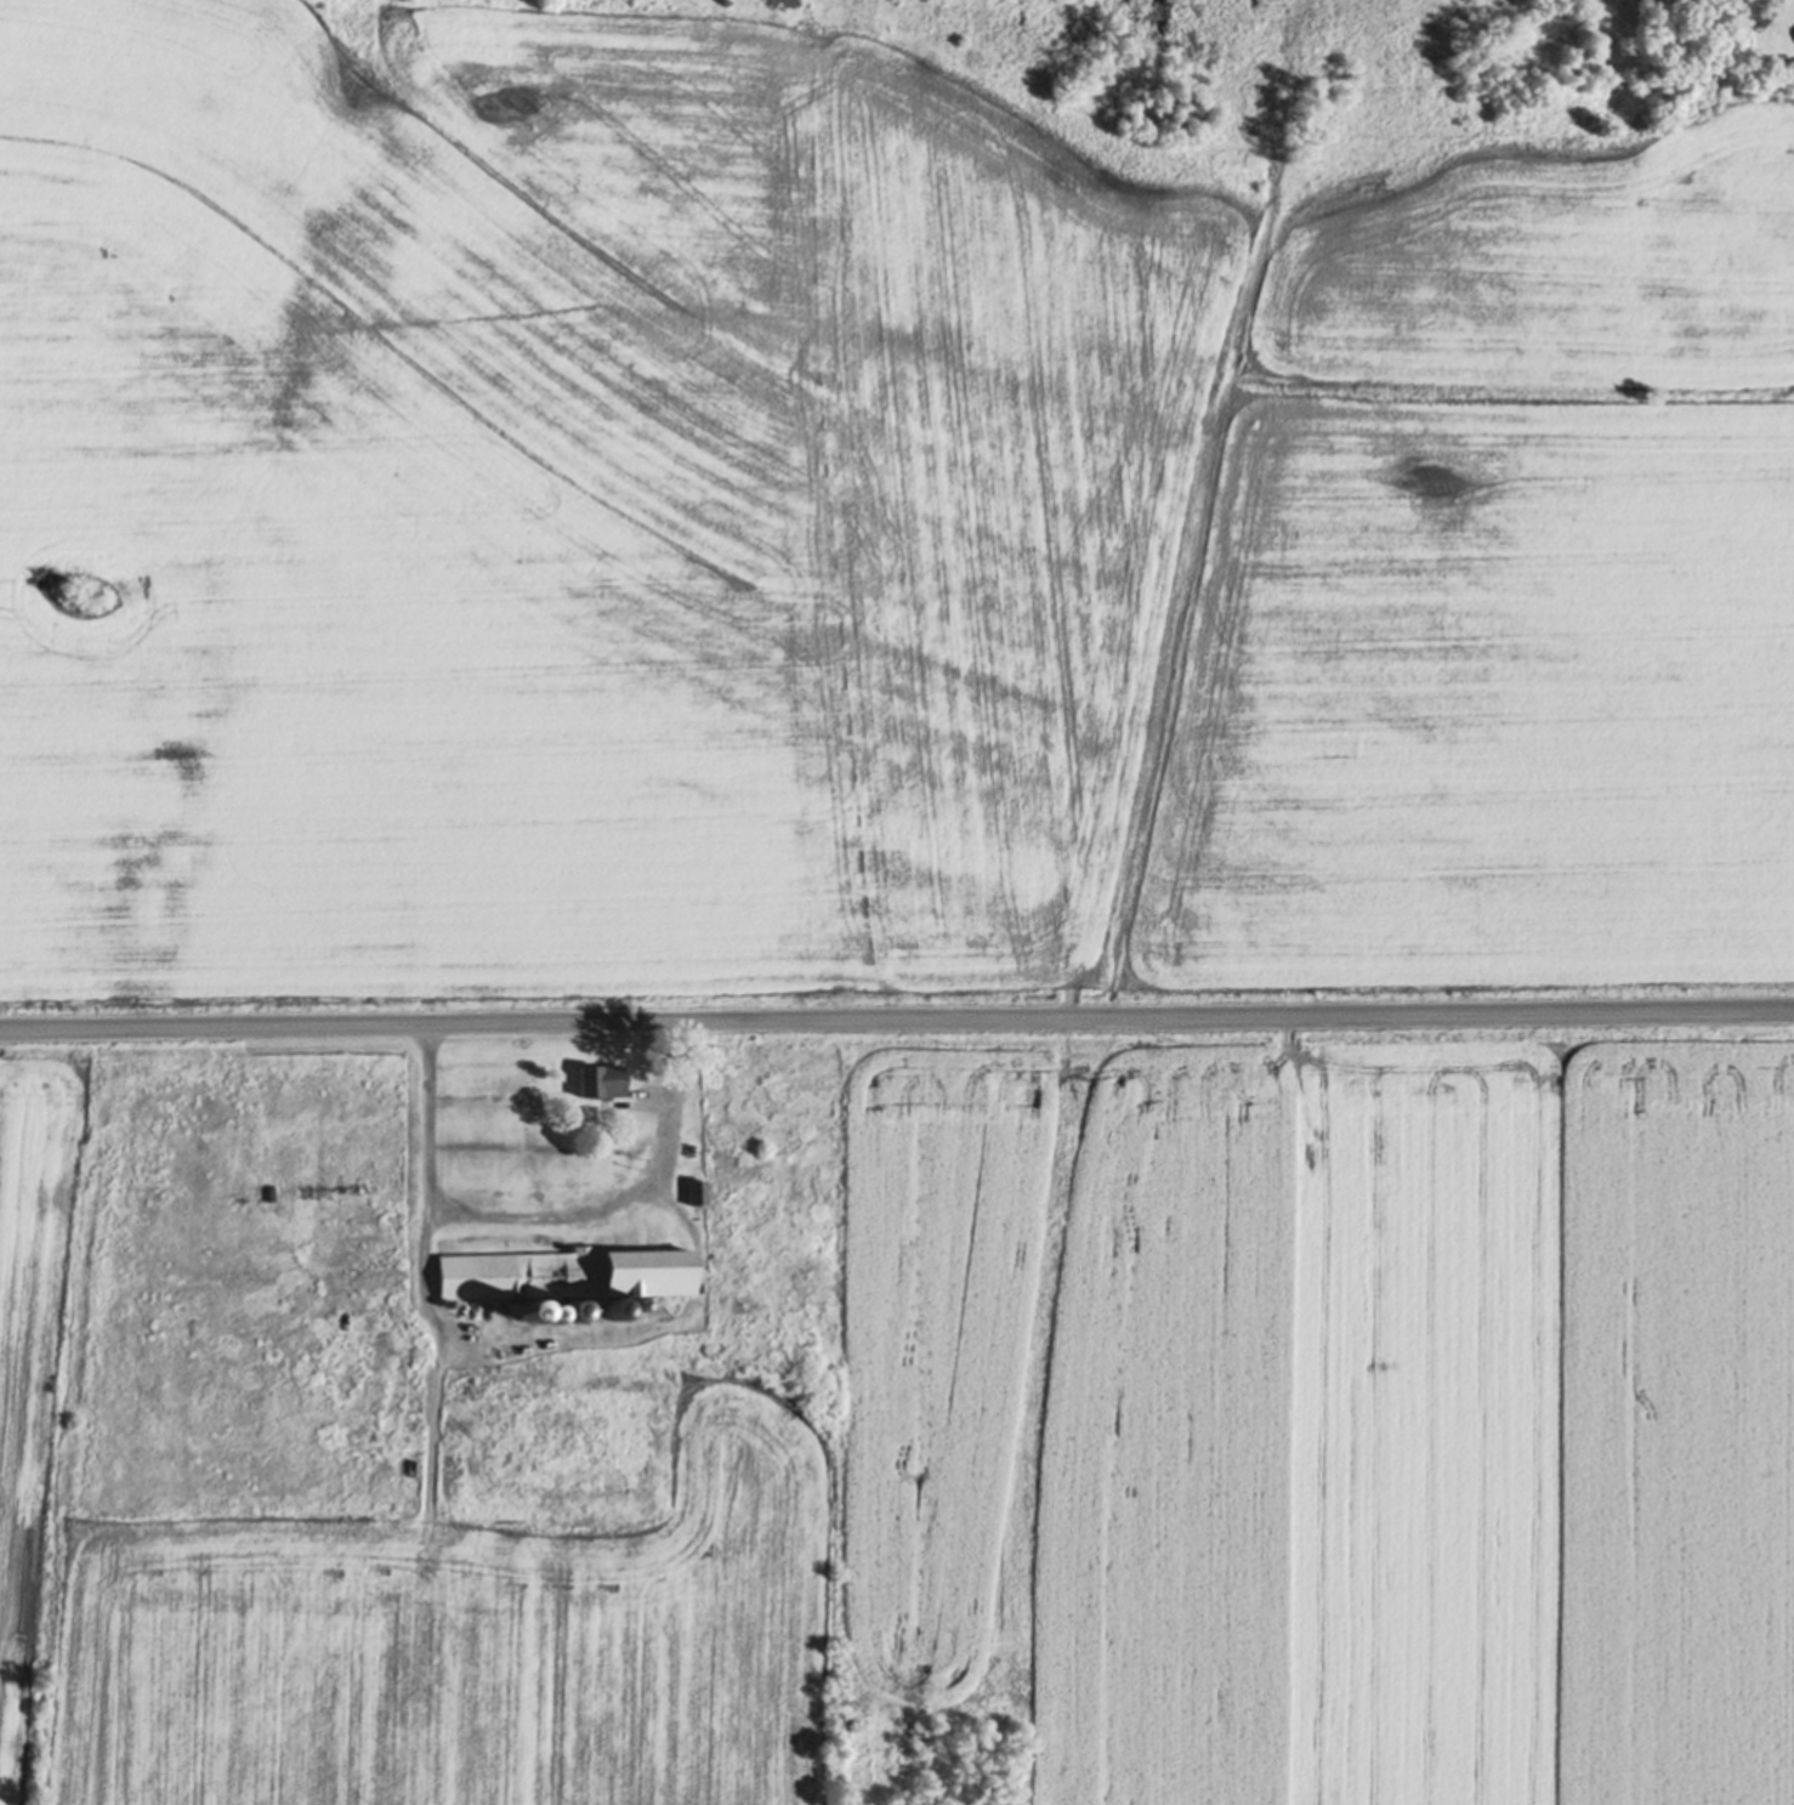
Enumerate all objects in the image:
road: (897, 1027)
building: (603, 1085)
building: (696, 1196)
building: (563, 1277)

